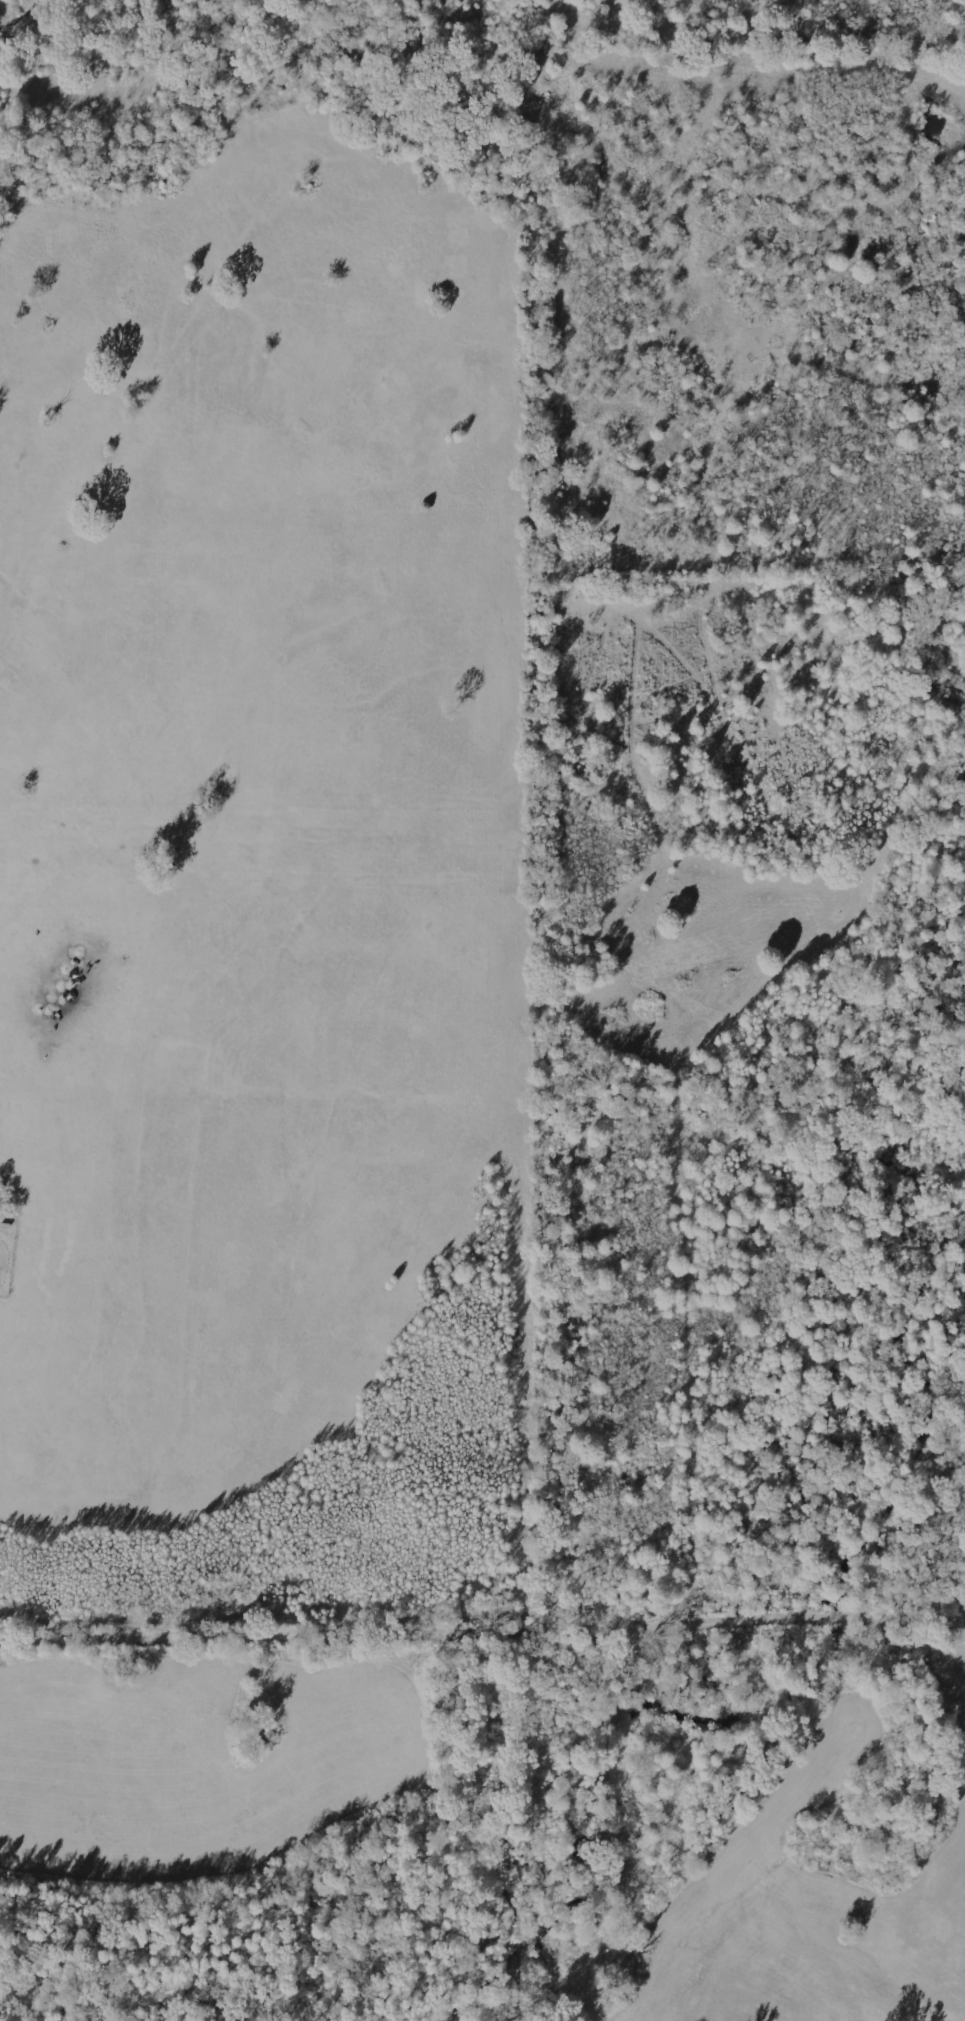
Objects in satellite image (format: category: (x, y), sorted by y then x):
road: (485, 1636)

